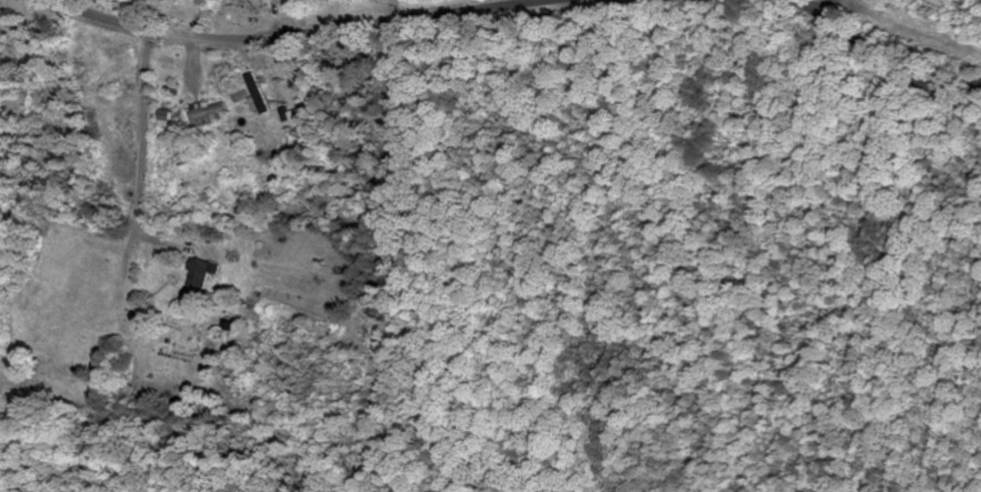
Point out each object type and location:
road: (826, 11)
road: (299, 35)
road: (877, 57)
building: (209, 115)
road: (30, 190)
building: (204, 276)

